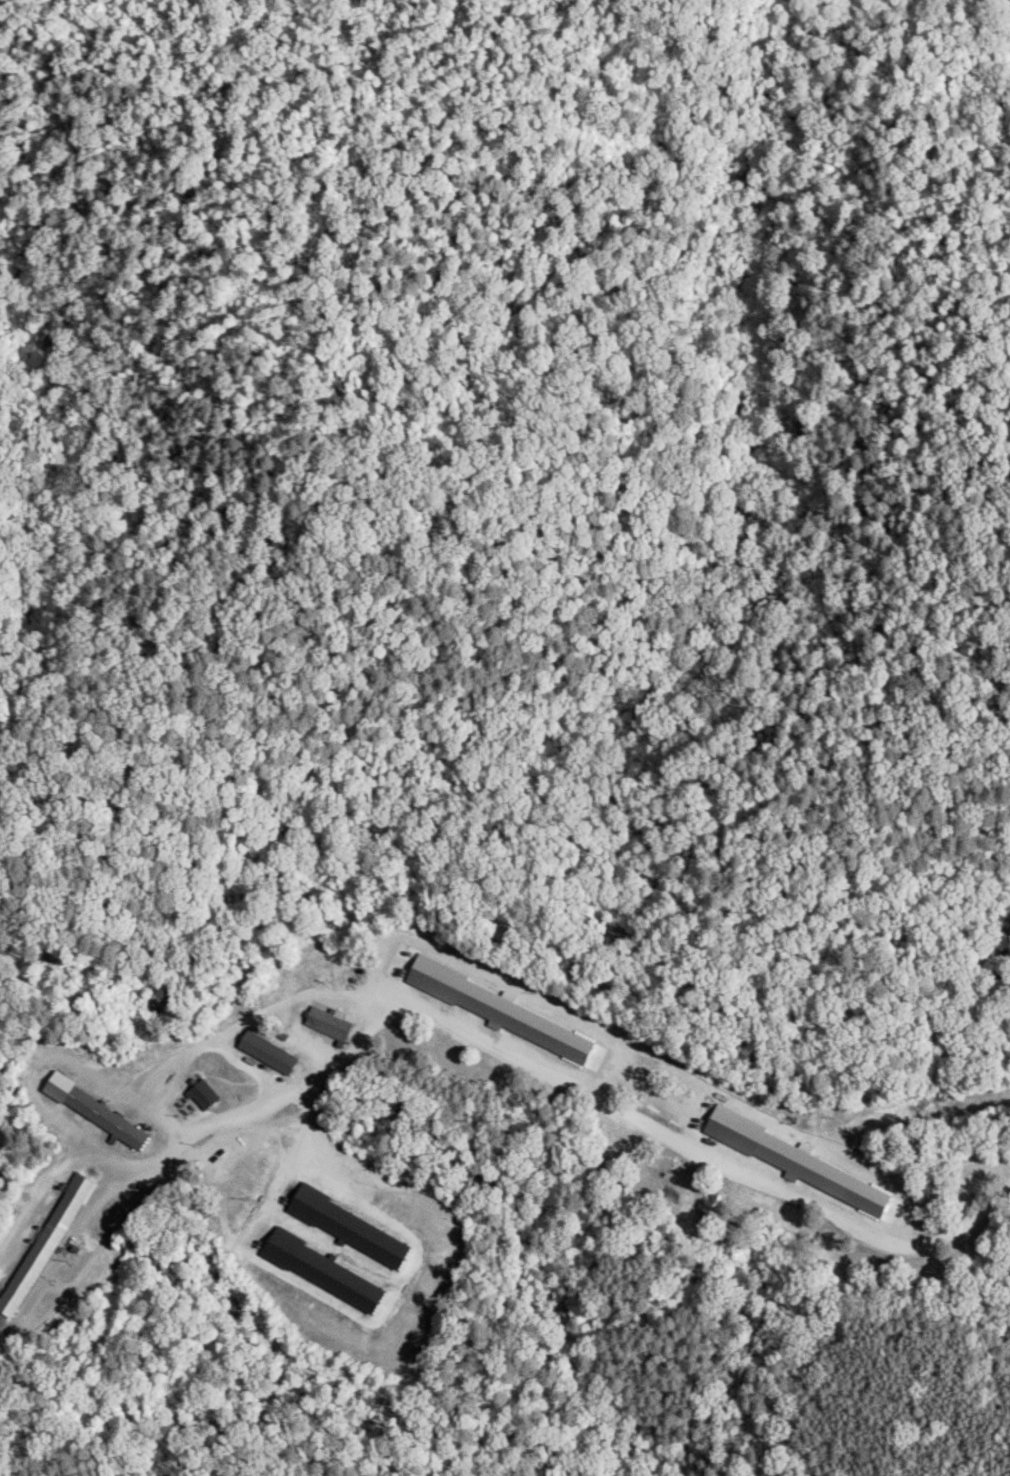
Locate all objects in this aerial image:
building: (493, 1009)
building: (327, 1023)
building: (267, 1052)
road: (554, 1077)
building: (202, 1094)
building: (95, 1111)
building: (809, 1167)
building: (348, 1228)
building: (44, 1244)
building: (321, 1269)

